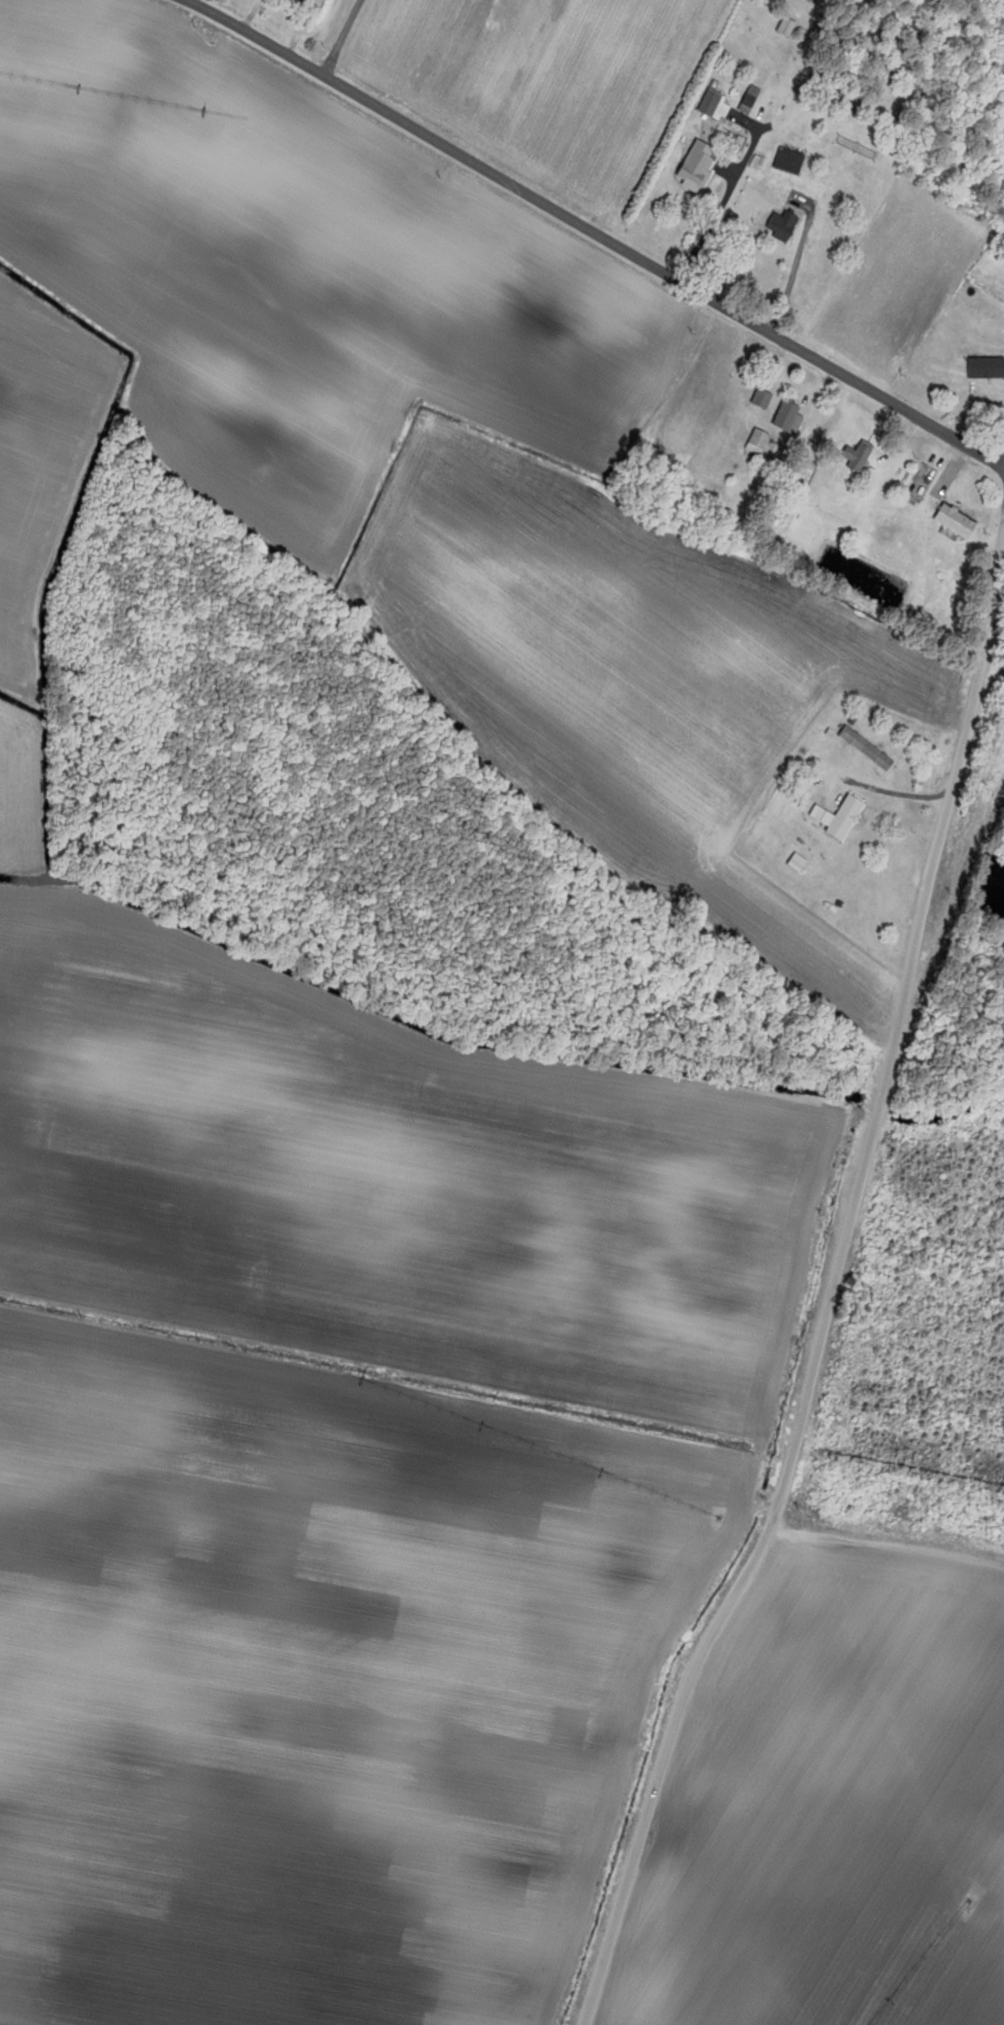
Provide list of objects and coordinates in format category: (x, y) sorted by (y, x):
building: (748, 100)
building: (709, 104)
building: (788, 160)
building: (696, 165)
road: (727, 191)
building: (781, 225)
road: (591, 232)
road: (793, 268)
building: (985, 367)
building: (760, 398)
building: (787, 417)
building: (756, 442)
building: (855, 456)
building: (801, 478)
building: (954, 521)
building: (864, 748)
road: (902, 794)
building: (837, 817)
road: (835, 1277)

